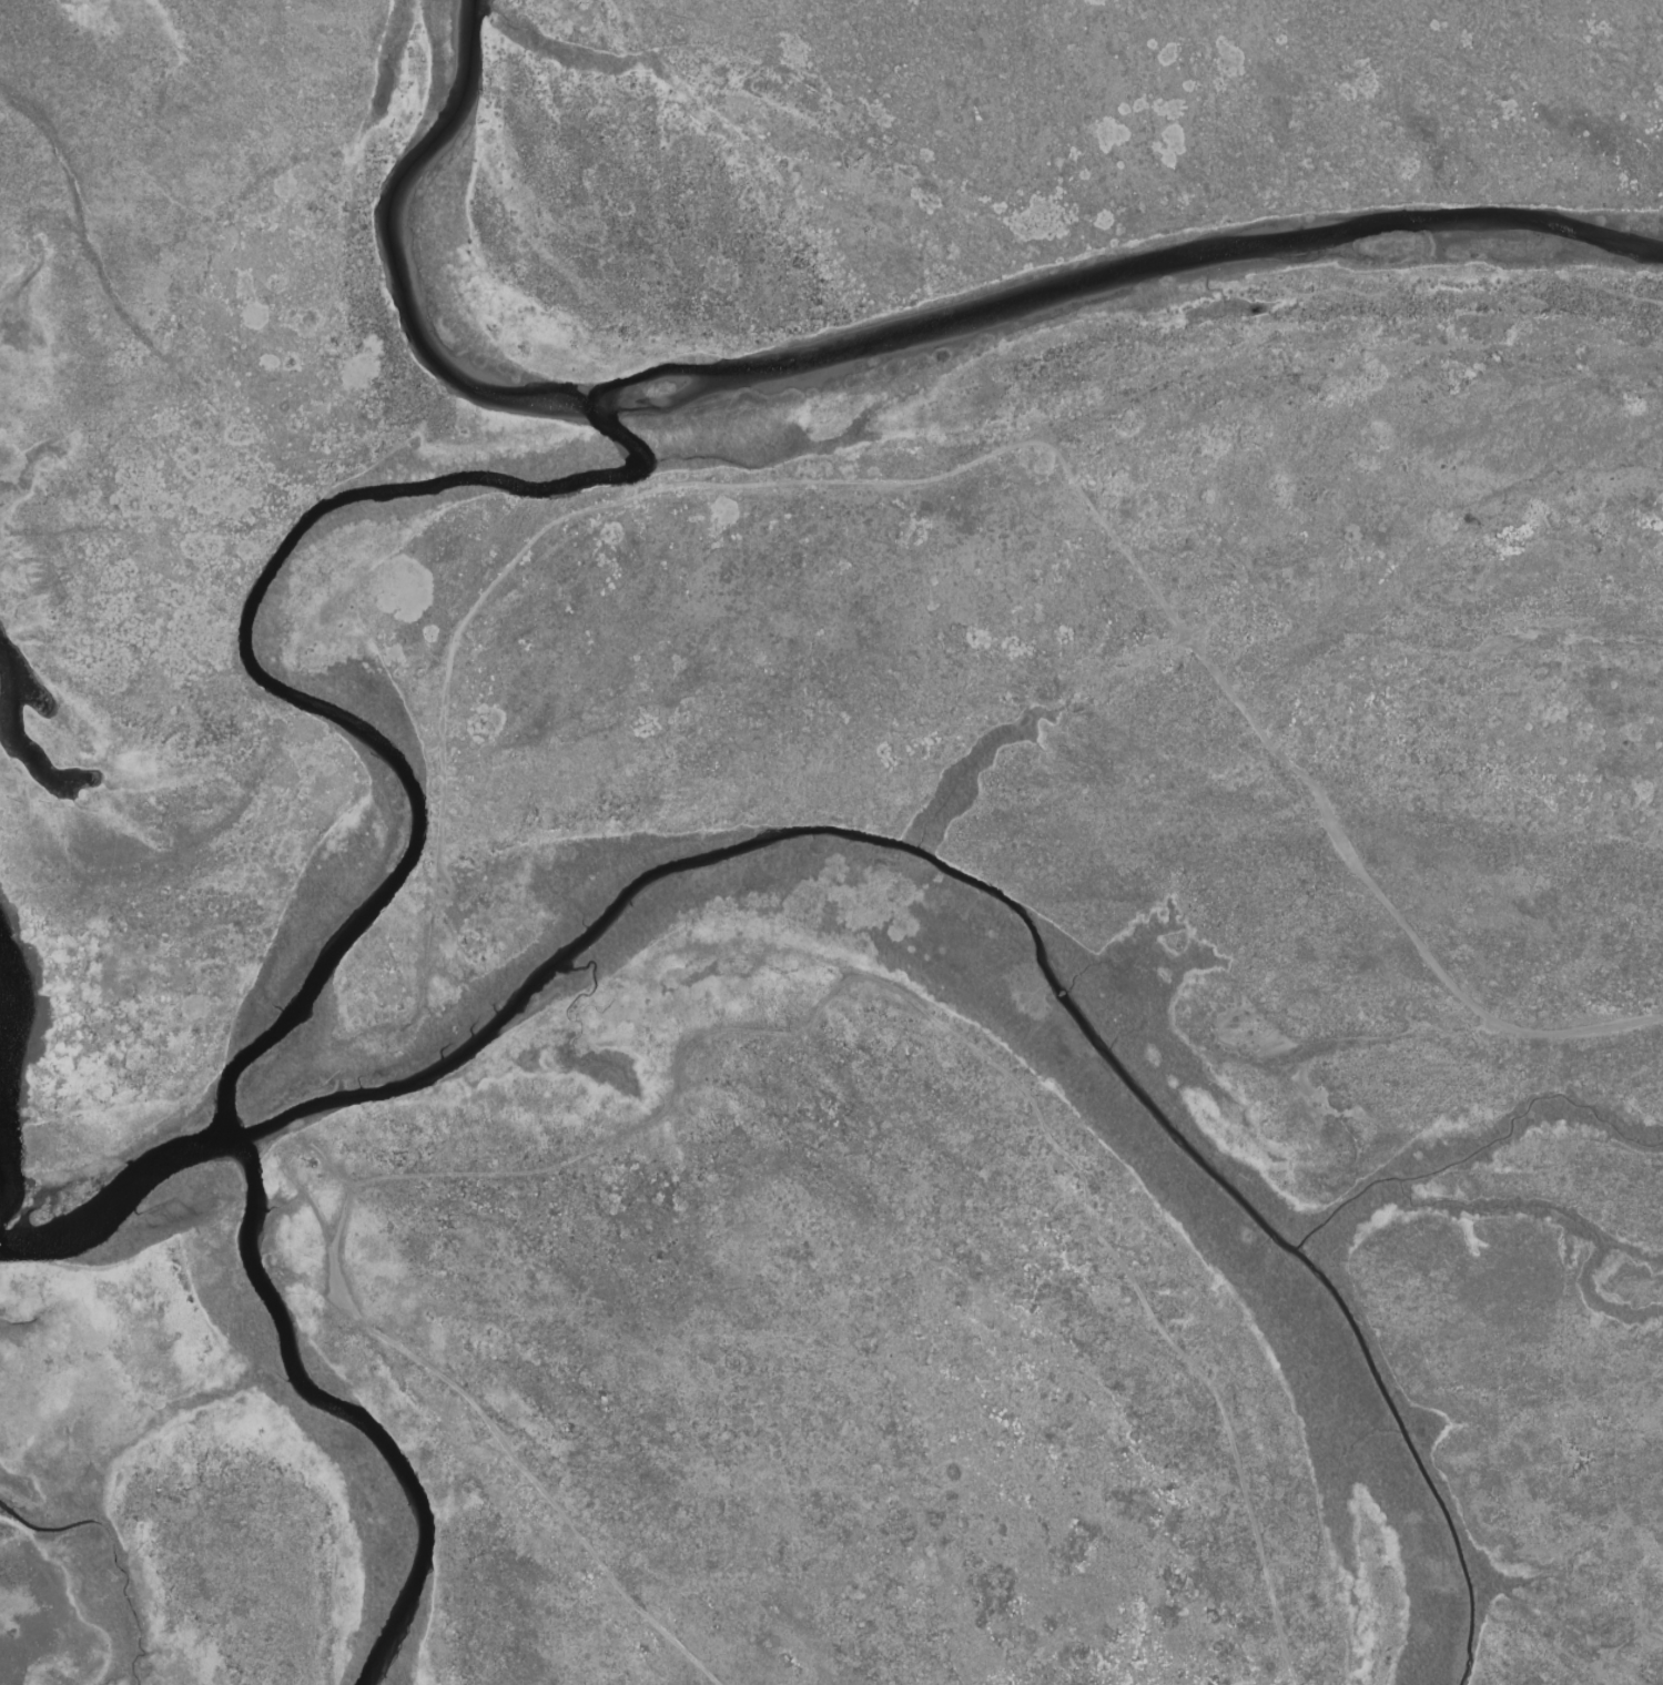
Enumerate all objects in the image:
river: (855, 351)
road: (1041, 448)
river: (263, 682)
river: (753, 843)
road: (969, 1048)
road: (300, 1149)
road: (516, 1464)

